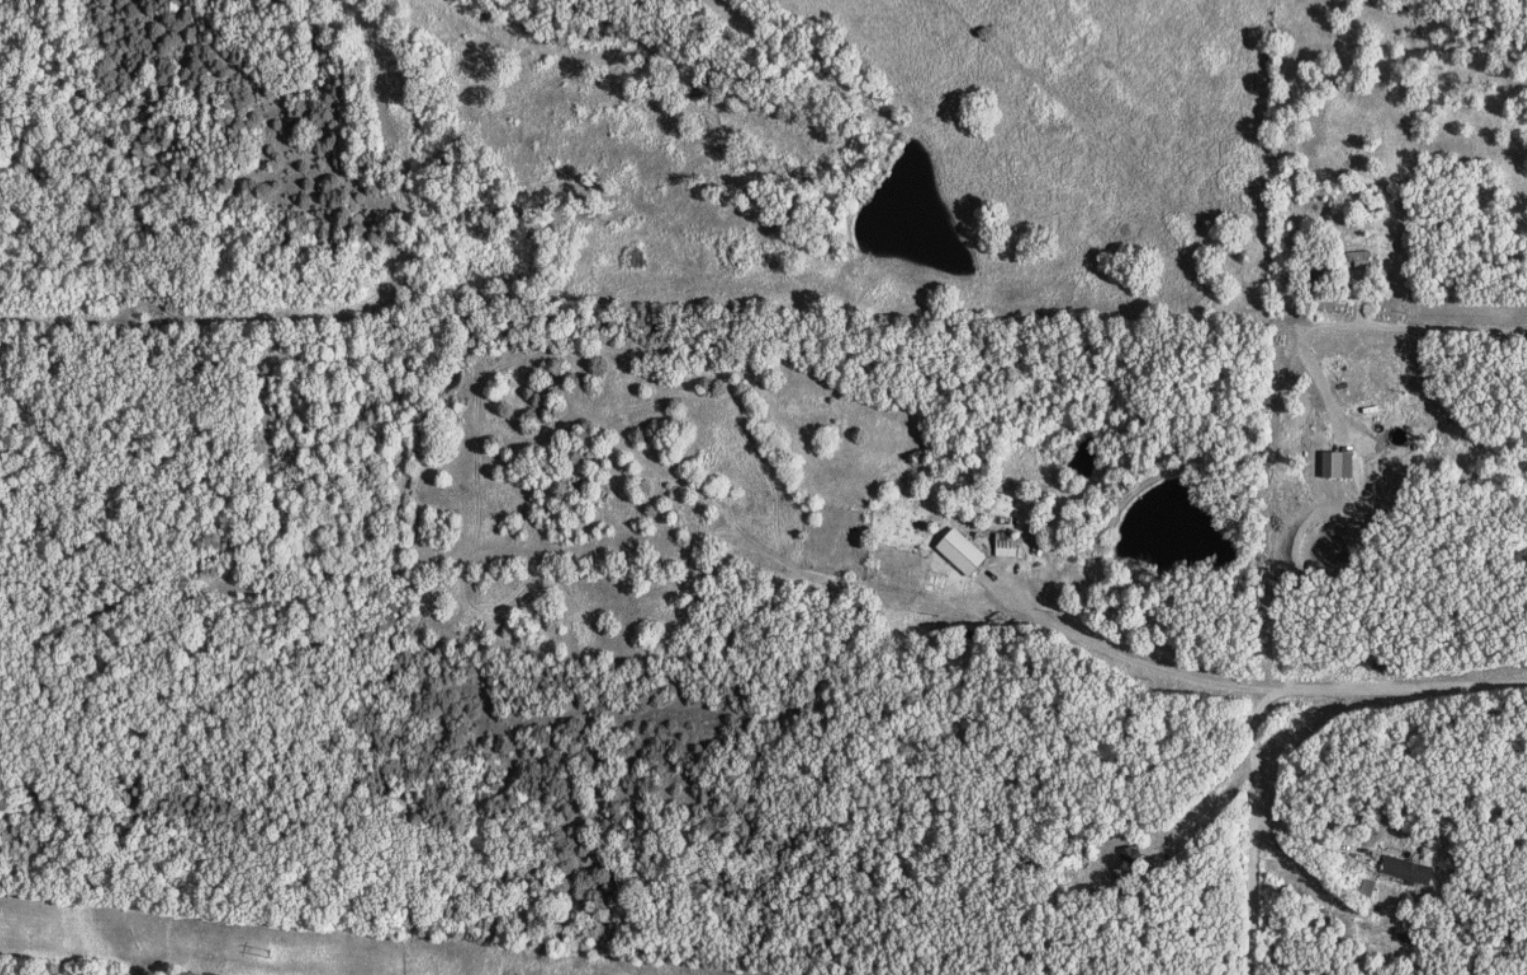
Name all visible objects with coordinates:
road: (1196, 252)
building: (1371, 260)
building: (1341, 464)
building: (1012, 545)
building: (969, 552)
road: (1249, 686)
road: (1257, 834)
road: (1334, 838)
building: (1140, 857)
building: (1413, 870)

